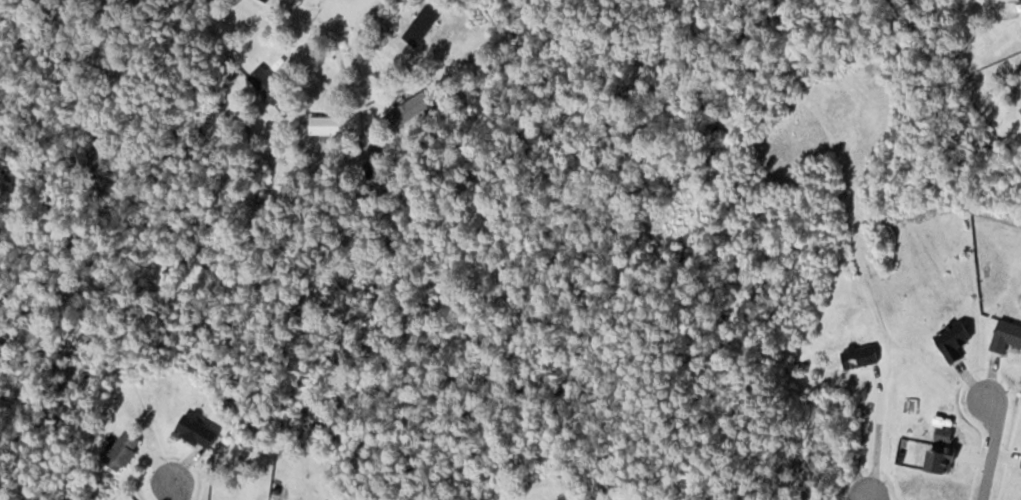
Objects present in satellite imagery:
building: (268, 0)
road: (353, 7)
building: (423, 25)
road: (342, 61)
building: (269, 85)
building: (410, 109)
building: (336, 124)
building: (1007, 336)
building: (955, 340)
building: (861, 357)
building: (199, 429)
road: (994, 444)
building: (124, 449)
building: (944, 460)
road: (173, 487)
road: (869, 497)

